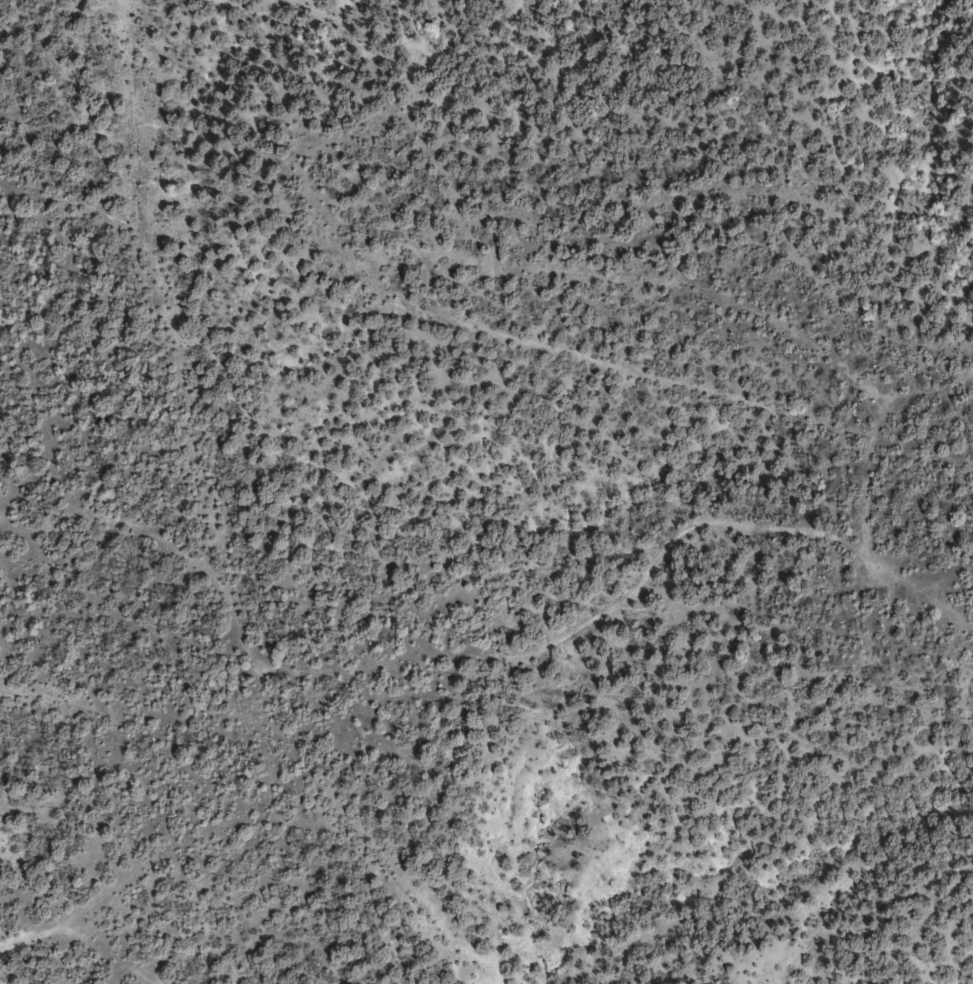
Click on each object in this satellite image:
road: (152, 791)
road: (76, 935)

